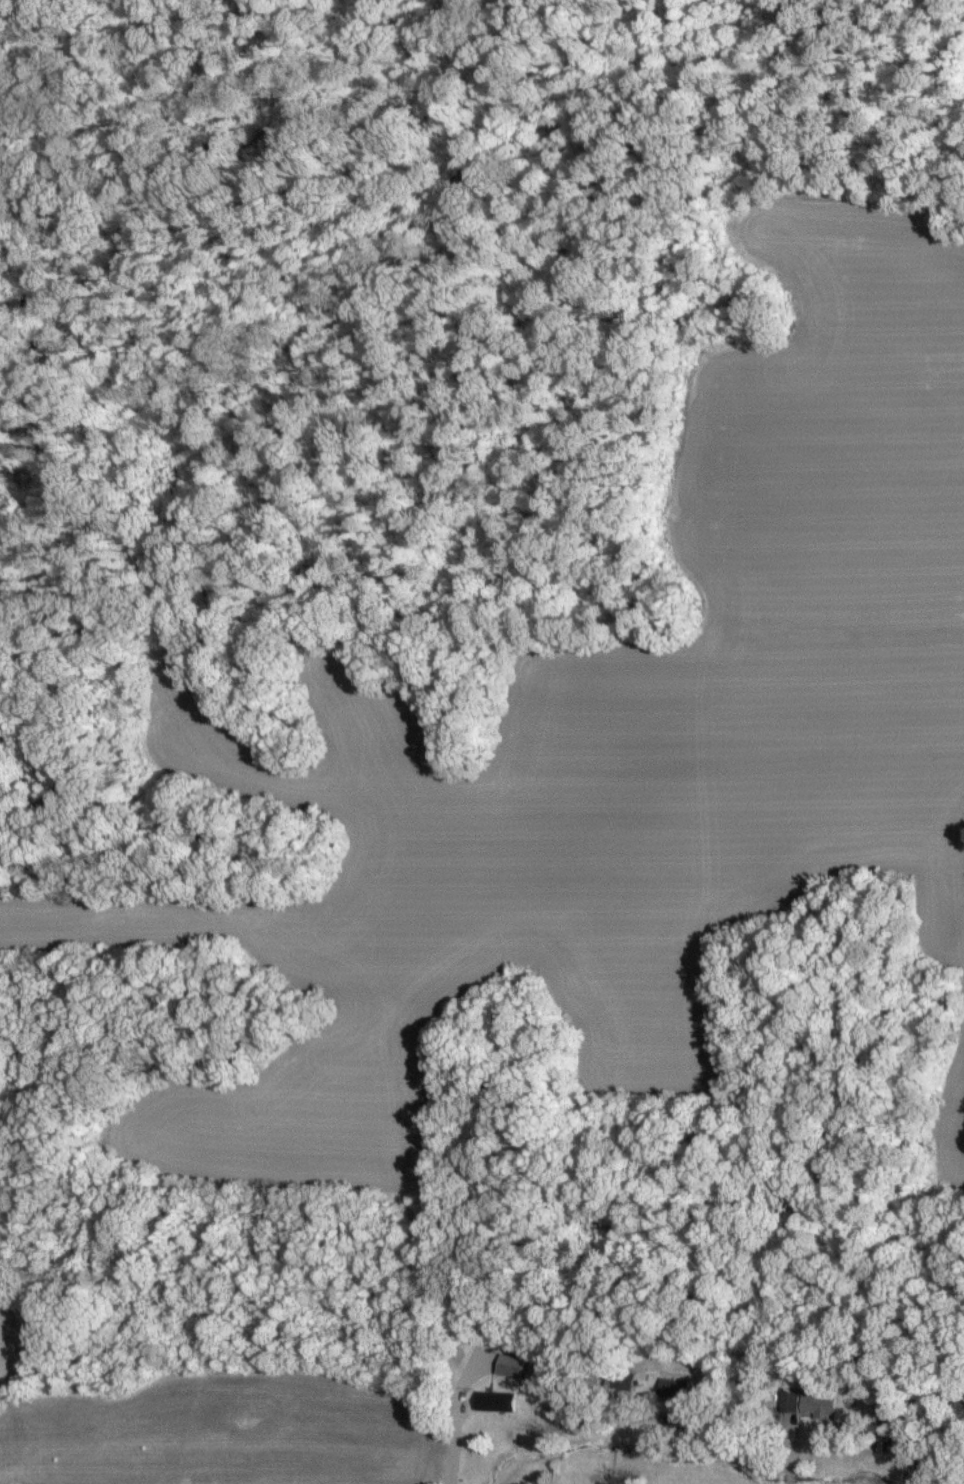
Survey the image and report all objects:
building: (511, 1364)
building: (670, 1388)
building: (494, 1400)
building: (814, 1404)
road: (447, 1431)
road: (623, 1442)

